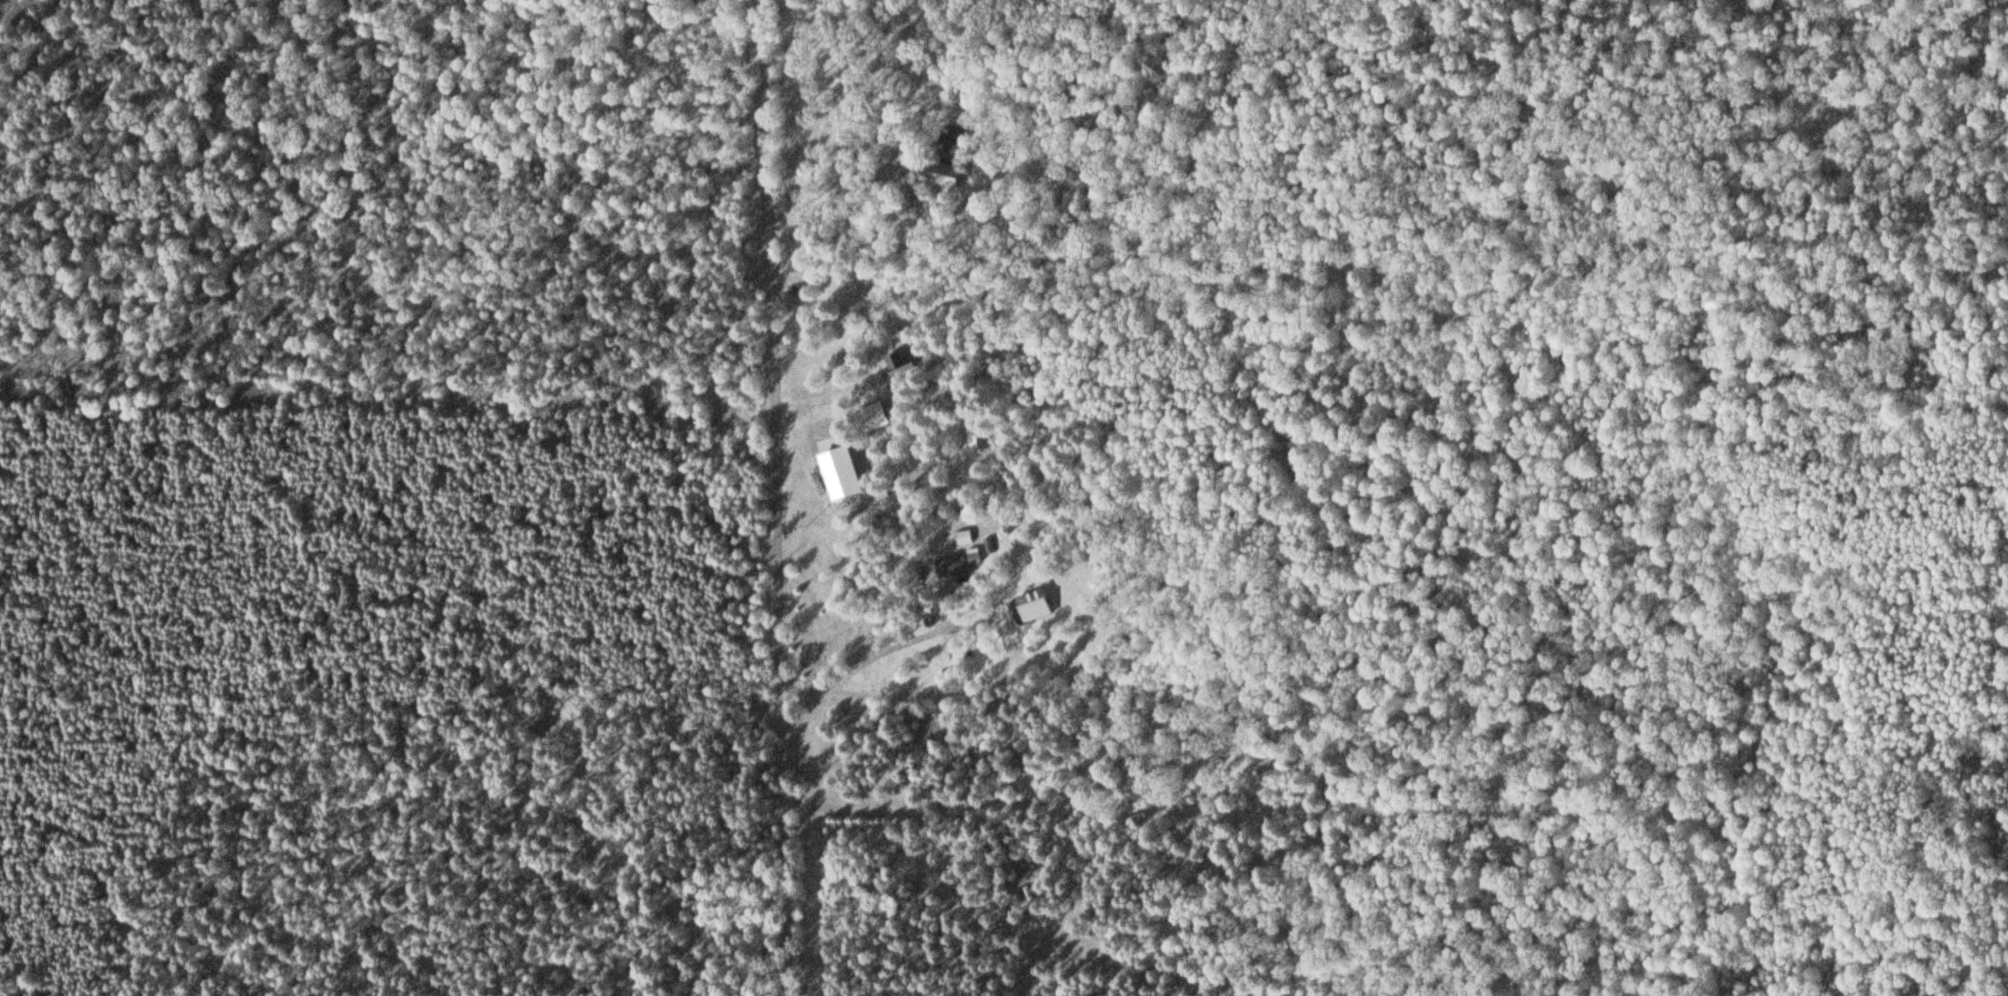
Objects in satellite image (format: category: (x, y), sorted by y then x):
building: (946, 174)
building: (890, 363)
building: (870, 419)
building: (970, 437)
road: (785, 497)
building: (950, 566)
building: (1032, 605)
road: (1004, 817)

